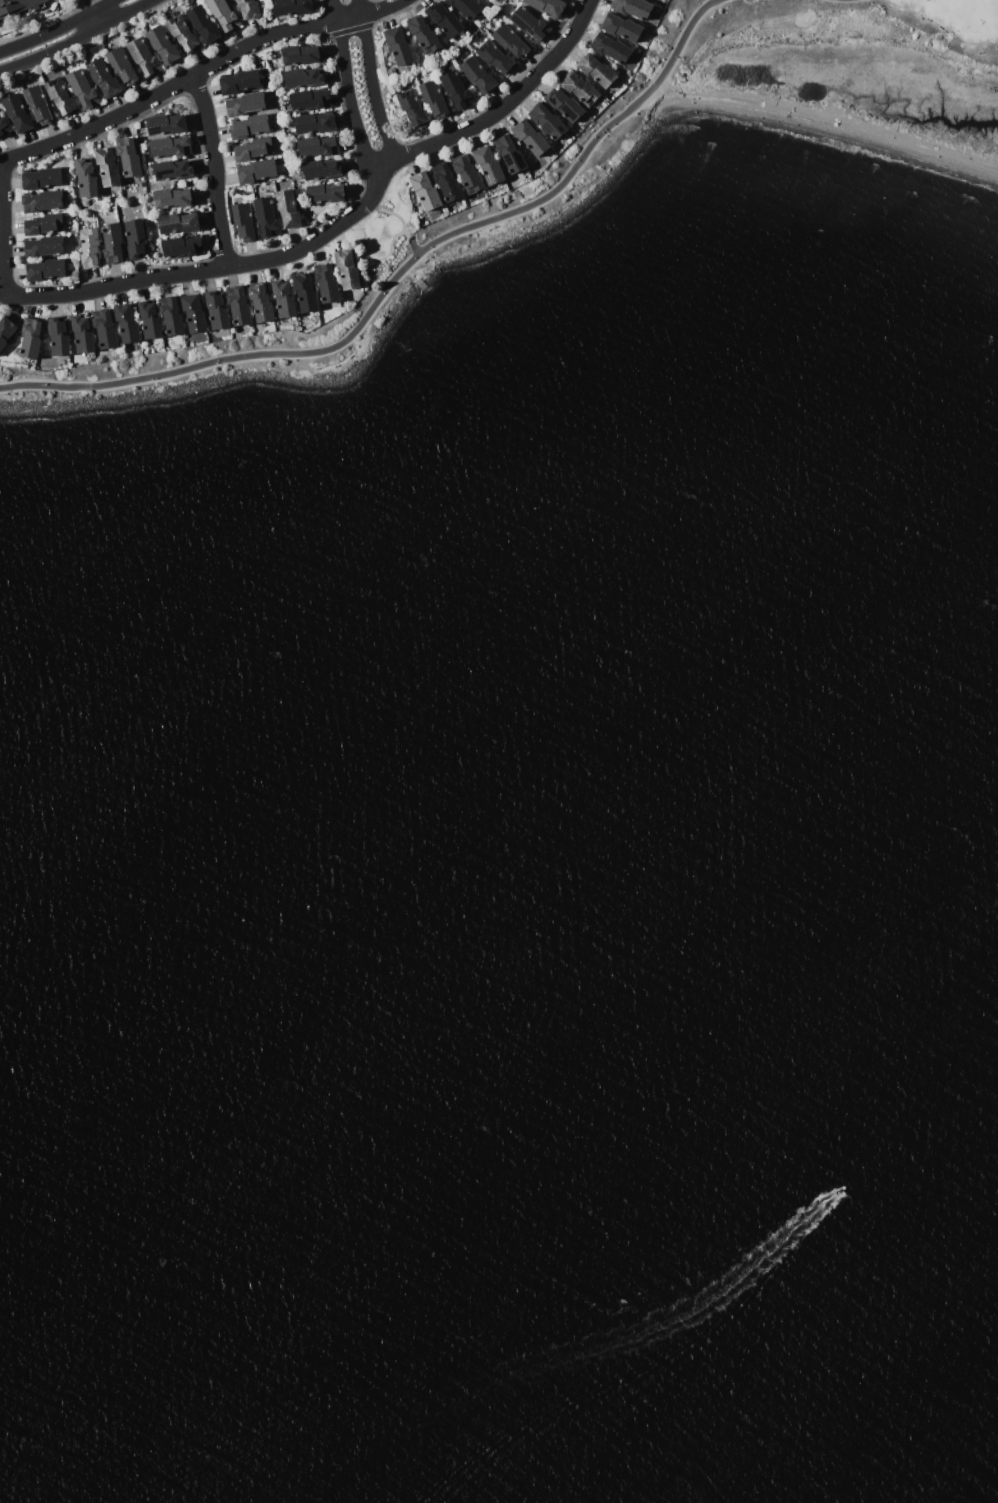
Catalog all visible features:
road: (851, 0)
building: (19, 7)
building: (292, 7)
building: (467, 7)
building: (546, 7)
building: (632, 7)
building: (249, 8)
road: (378, 8)
road: (95, 14)
building: (223, 14)
building: (445, 21)
building: (530, 24)
building: (203, 25)
building: (622, 27)
road: (56, 30)
road: (941, 30)
building: (423, 33)
building: (183, 35)
road: (79, 40)
building: (511, 41)
building: (163, 45)
building: (398, 45)
building: (610, 48)
building: (301, 55)
building: (143, 56)
building: (434, 56)
building: (497, 59)
building: (122, 66)
building: (419, 69)
building: (596, 71)
building: (477, 75)
building: (104, 78)
building: (303, 78)
road: (368, 81)
building: (240, 82)
building: (82, 89)
building: (456, 90)
building: (581, 90)
road: (345, 91)
building: (60, 96)
building: (609, 96)
building: (309, 100)
road: (510, 100)
building: (435, 101)
building: (245, 104)
building: (38, 105)
building: (564, 105)
building: (412, 109)
building: (18, 113)
building: (548, 120)
building: (314, 124)
building: (166, 125)
building: (3, 127)
building: (249, 127)
building: (531, 137)
building: (318, 146)
building: (169, 147)
building: (252, 149)
building: (523, 151)
building: (509, 153)
road: (615, 156)
building: (129, 157)
building: (489, 165)
building: (502, 165)
building: (107, 167)
building: (279, 168)
road: (212, 169)
building: (321, 169)
building: (147, 170)
building: (173, 171)
building: (256, 171)
building: (468, 174)
building: (40, 179)
building: (86, 180)
building: (142, 180)
building: (446, 182)
park: (587, 182)
building: (142, 185)
building: (425, 191)
building: (144, 192)
building: (325, 194)
building: (173, 198)
building: (41, 201)
building: (417, 207)
building: (288, 209)
building: (266, 216)
building: (177, 223)
building: (245, 223)
building: (44, 224)
building: (90, 225)
road: (401, 226)
building: (134, 238)
building: (112, 243)
building: (47, 246)
building: (89, 247)
building: (182, 247)
road: (2, 256)
road: (372, 261)
building: (46, 269)
building: (348, 270)
road: (399, 279)
road: (416, 279)
building: (327, 284)
building: (305, 294)
building: (284, 301)
building: (261, 305)
building: (239, 306)
building: (217, 311)
building: (194, 313)
building: (171, 316)
building: (149, 321)
building: (127, 324)
building: (305, 324)
building: (287, 327)
building: (104, 329)
building: (6, 330)
building: (82, 334)
building: (59, 336)
building: (31, 339)
road: (334, 366)

